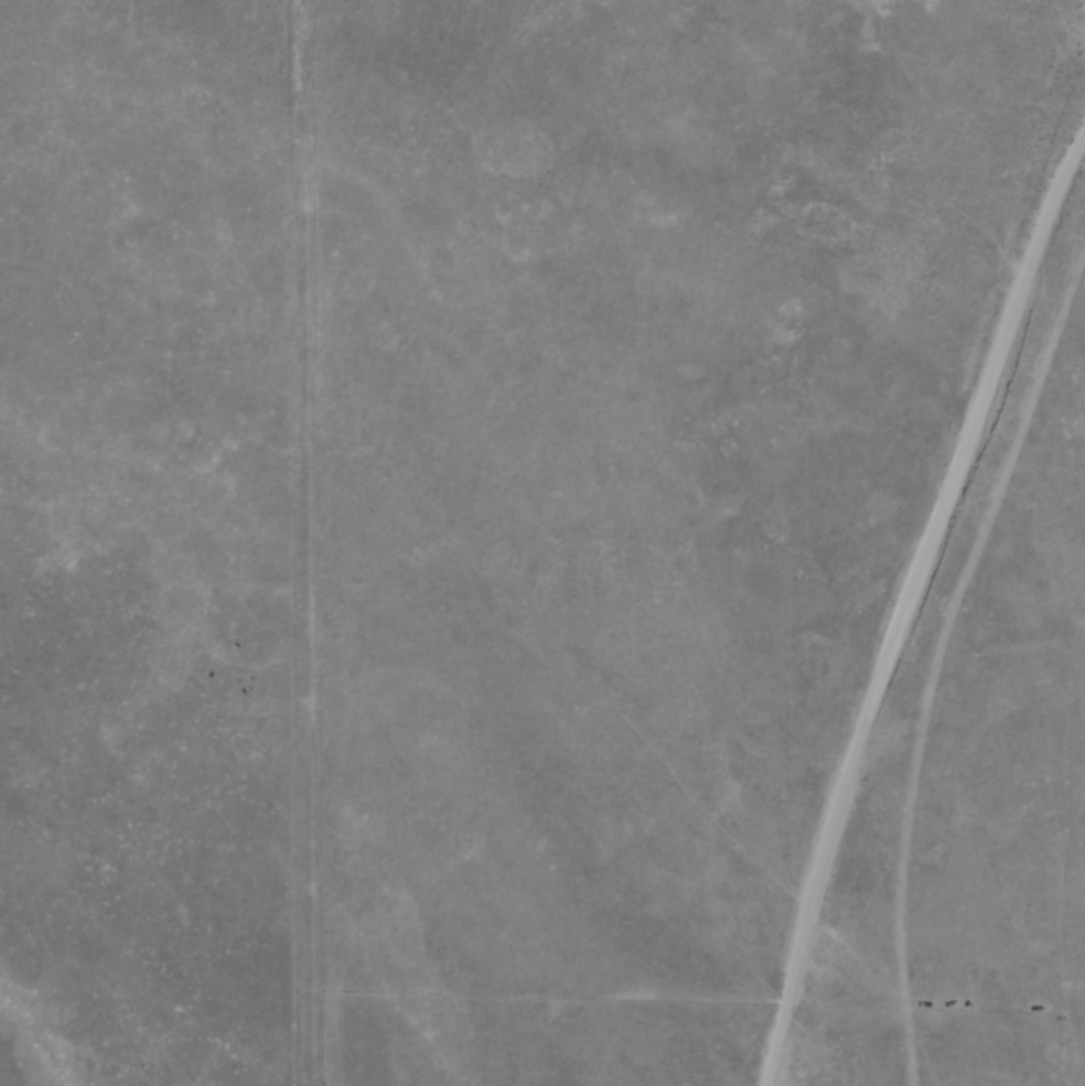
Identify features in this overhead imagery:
road: (907, 601)

